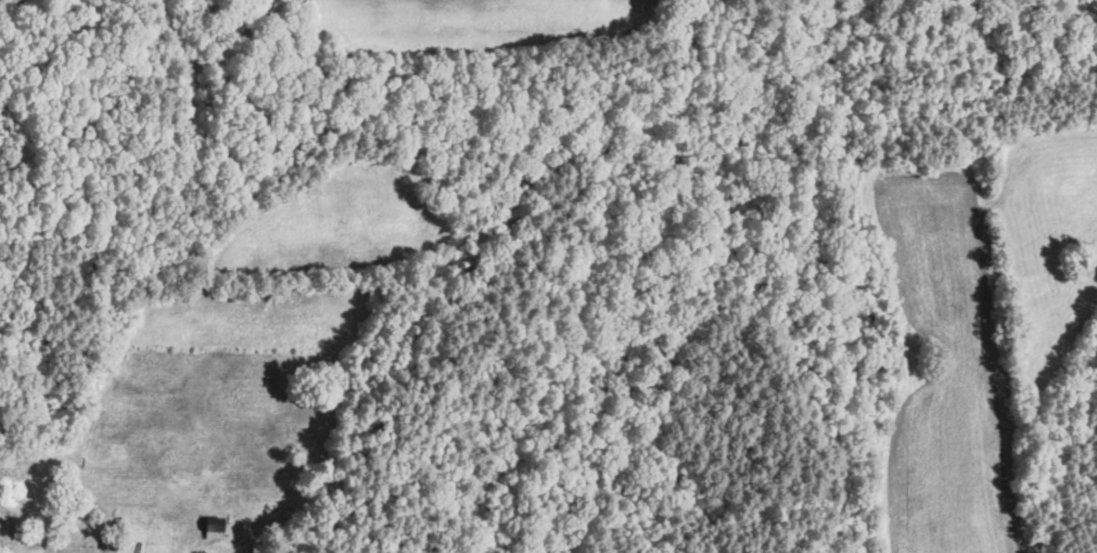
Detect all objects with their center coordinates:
building: (213, 528)

